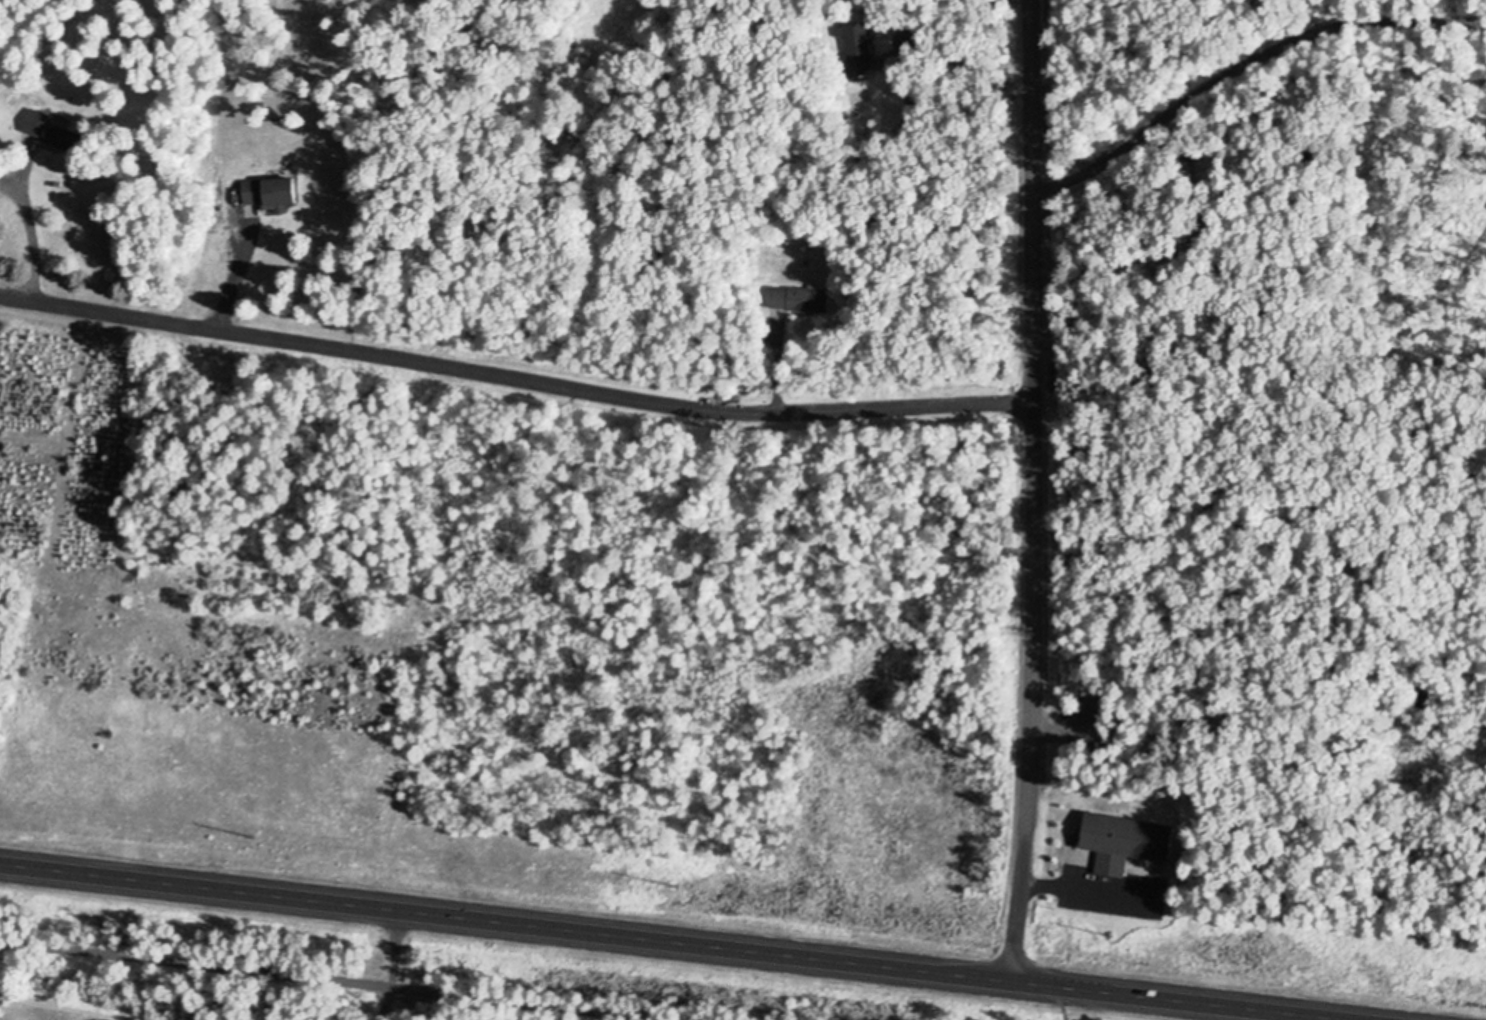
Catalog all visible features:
building: (858, 46)
road: (1239, 62)
building: (50, 126)
building: (272, 188)
road: (28, 240)
road: (229, 281)
building: (802, 296)
road: (512, 375)
road: (775, 382)
road: (1028, 489)
power tower: (249, 831)
building: (1121, 841)
power tower: (671, 879)
road: (1048, 884)
power tower: (1110, 932)
road: (688, 941)
road: (391, 964)
road: (343, 980)

